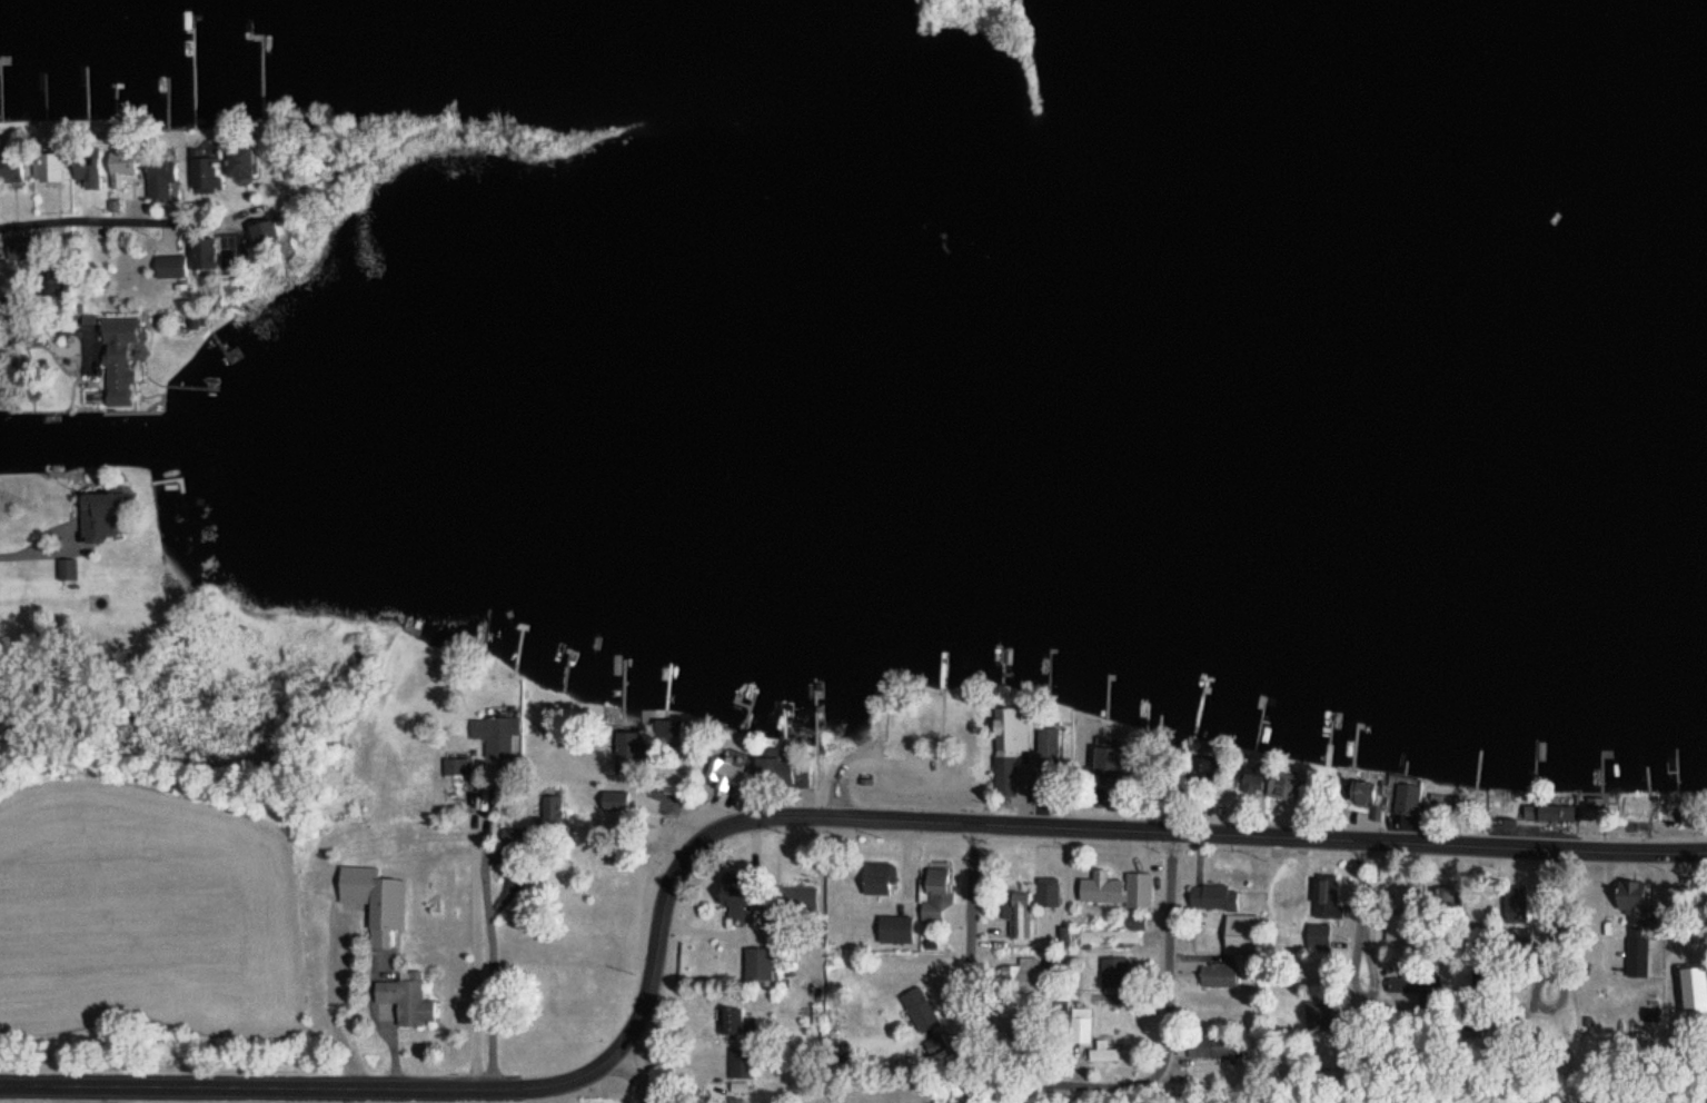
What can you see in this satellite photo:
building: (238, 160)
building: (53, 165)
building: (9, 167)
building: (120, 167)
building: (86, 168)
building: (205, 173)
building: (159, 176)
road: (188, 221)
road: (56, 222)
building: (204, 254)
road: (52, 329)
building: (40, 356)
building: (117, 359)
building: (100, 508)
road: (38, 546)
building: (1011, 725)
building: (665, 727)
building: (494, 733)
building: (1046, 746)
building: (1109, 757)
building: (778, 769)
building: (455, 779)
building: (1359, 792)
building: (1402, 798)
building: (1558, 801)
building: (1442, 806)
building: (549, 812)
road: (1084, 824)
building: (877, 878)
building: (1100, 887)
building: (1406, 888)
building: (934, 890)
building: (1137, 890)
building: (1046, 891)
building: (1326, 891)
building: (733, 894)
building: (1627, 894)
building: (1212, 896)
building: (374, 900)
building: (1447, 902)
building: (1512, 912)
building: (1016, 913)
building: (1396, 927)
building: (894, 930)
building: (1114, 932)
building: (1317, 934)
road: (971, 944)
road: (490, 947)
road: (1370, 950)
building: (1054, 961)
building: (756, 963)
road: (1551, 964)
building: (1113, 971)
building: (1018, 974)
building: (1218, 974)
building: (1396, 984)
building: (405, 1000)
road: (330, 1001)
building: (925, 1020)
building: (731, 1021)
building: (1080, 1024)
road: (1167, 1041)
building: (1213, 1046)
building: (1113, 1052)
building: (740, 1060)
road: (632, 1067)
road: (1550, 1084)
road: (311, 1087)
road: (648, 1093)

